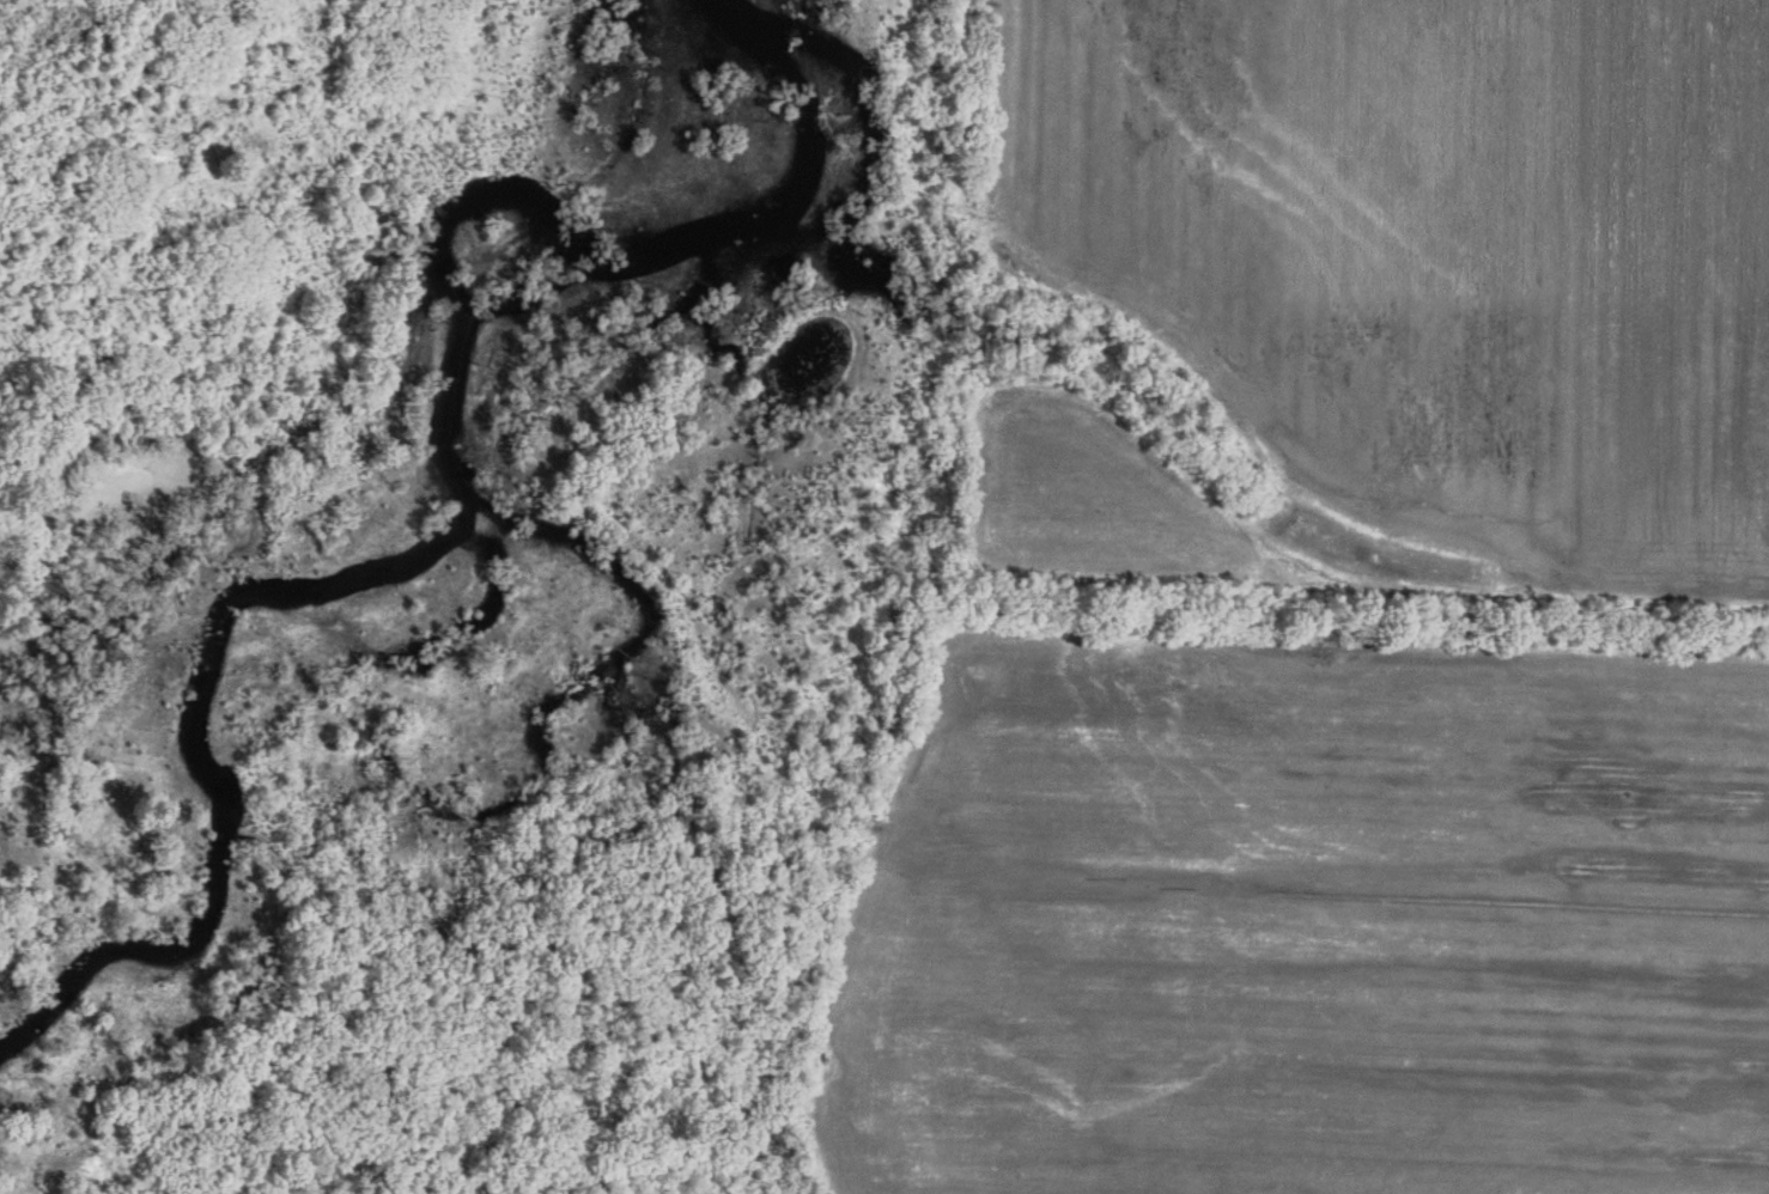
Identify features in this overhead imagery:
road: (55, 1147)

